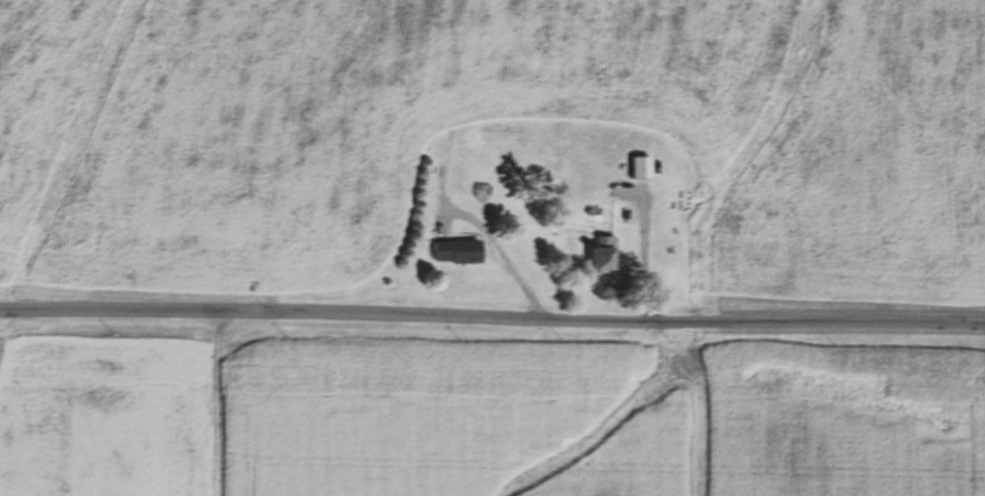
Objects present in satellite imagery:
building: (642, 167)
building: (457, 252)
building: (604, 255)
road: (492, 316)

